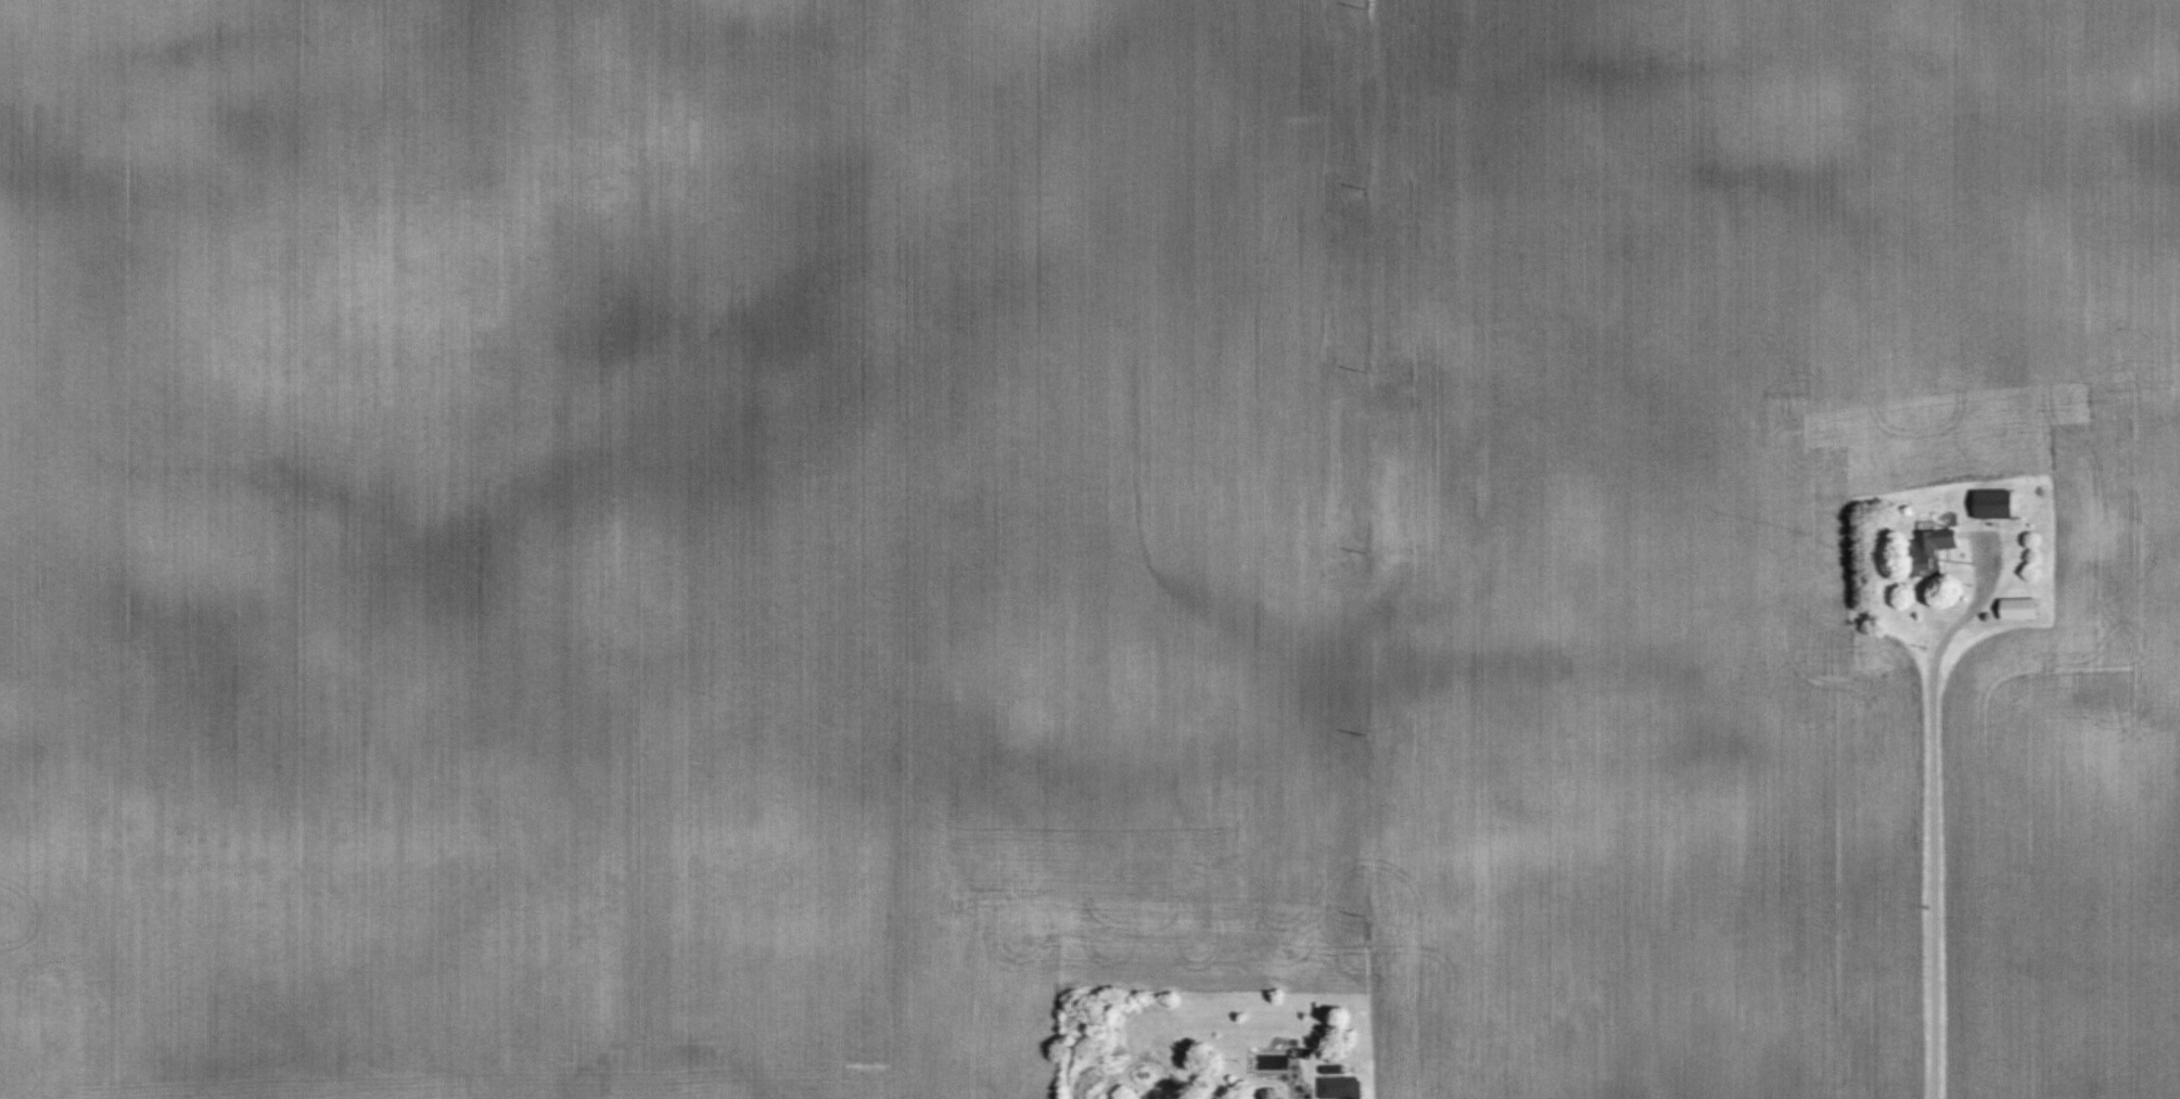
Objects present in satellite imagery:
building: (1993, 503)
building: (1940, 540)
building: (1926, 568)
building: (2019, 608)
road: (1934, 816)

